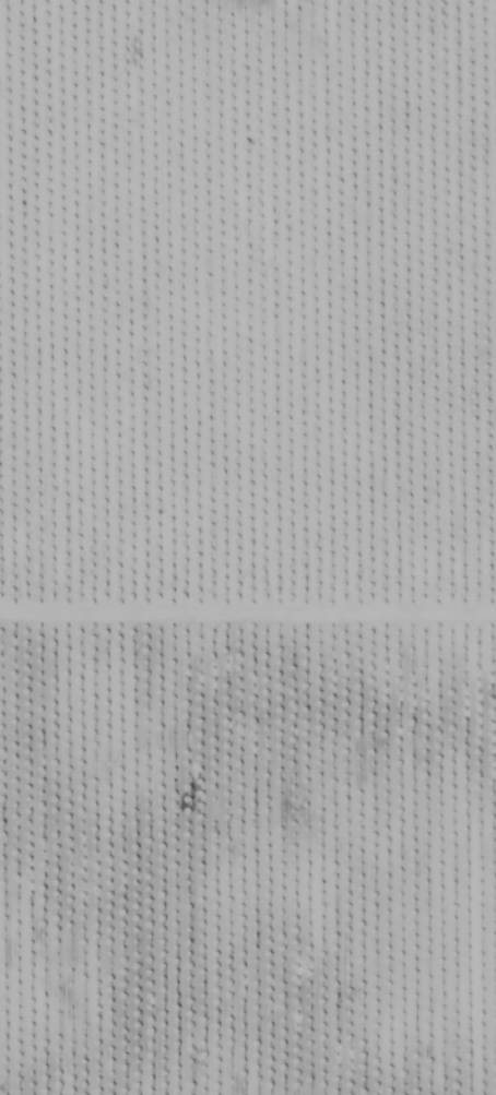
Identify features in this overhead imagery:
crop: (261, 541)

